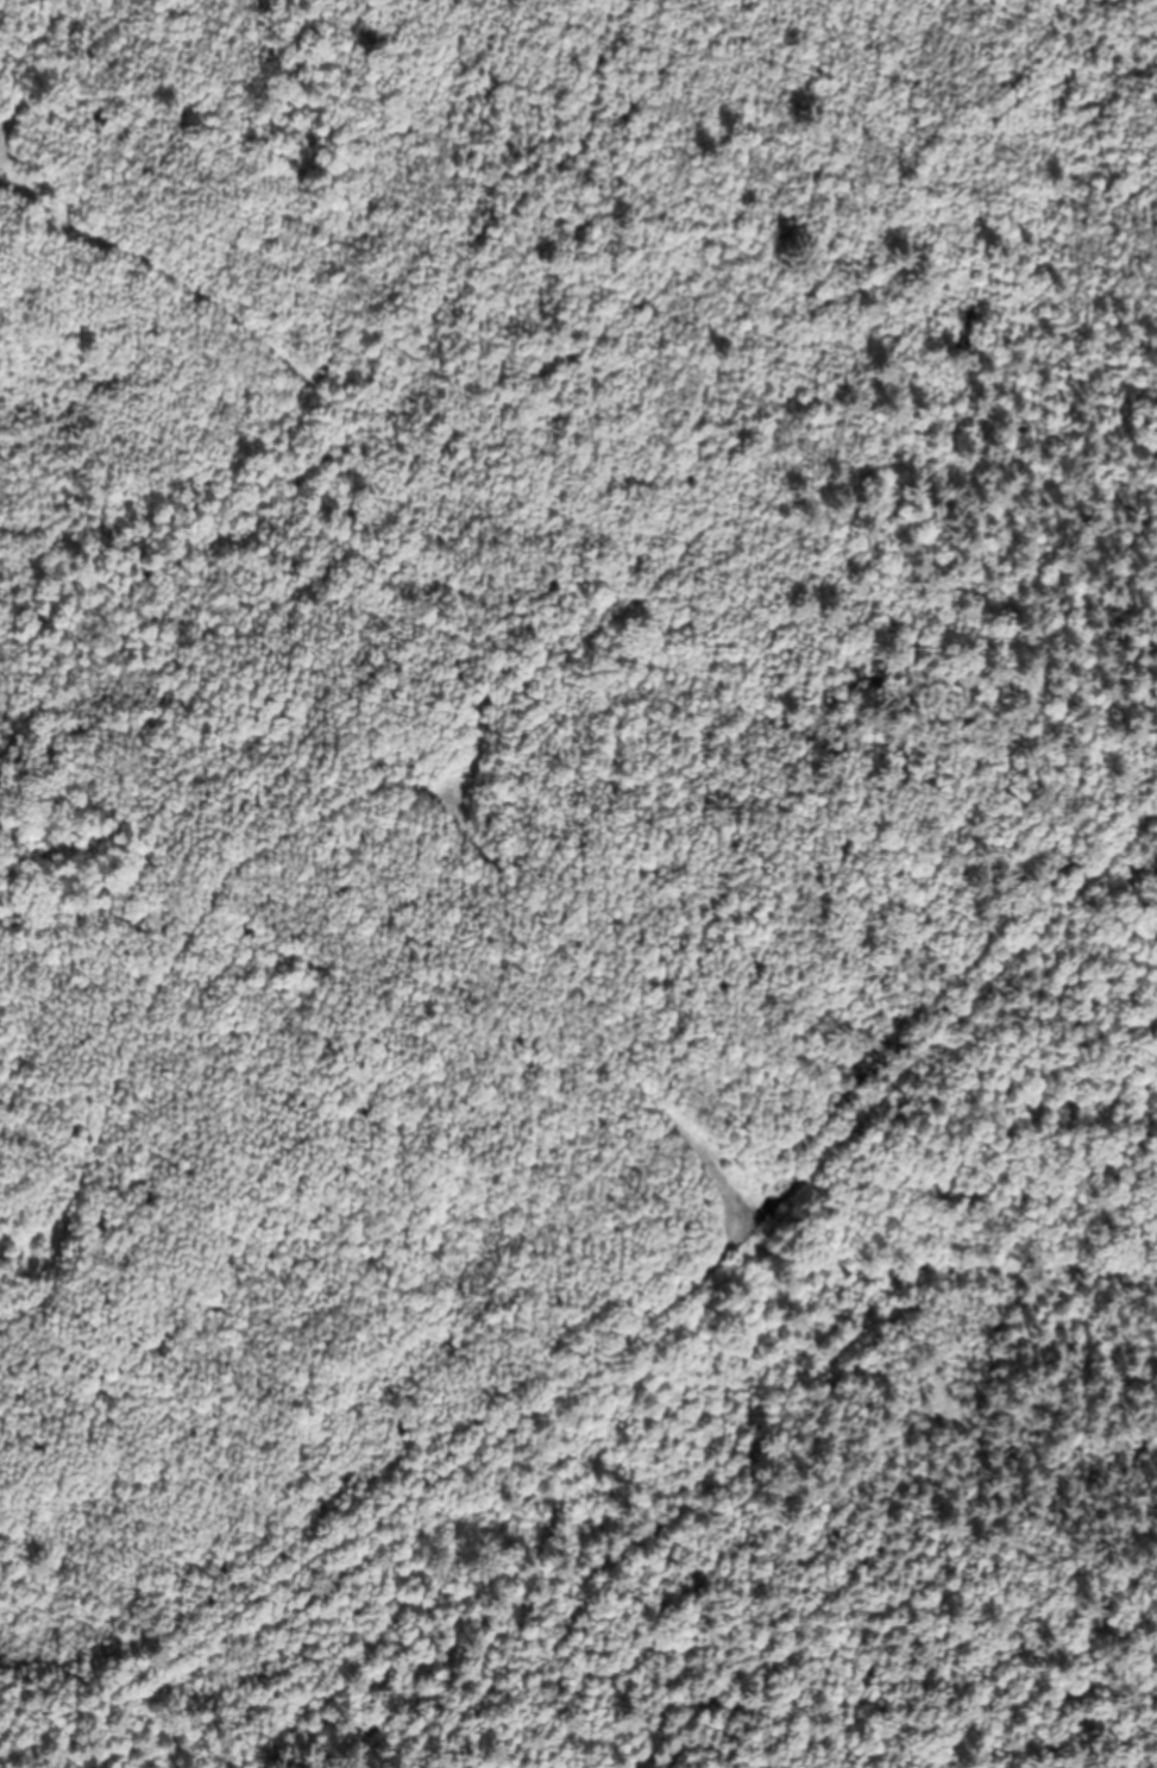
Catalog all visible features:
road: (615, 1328)

